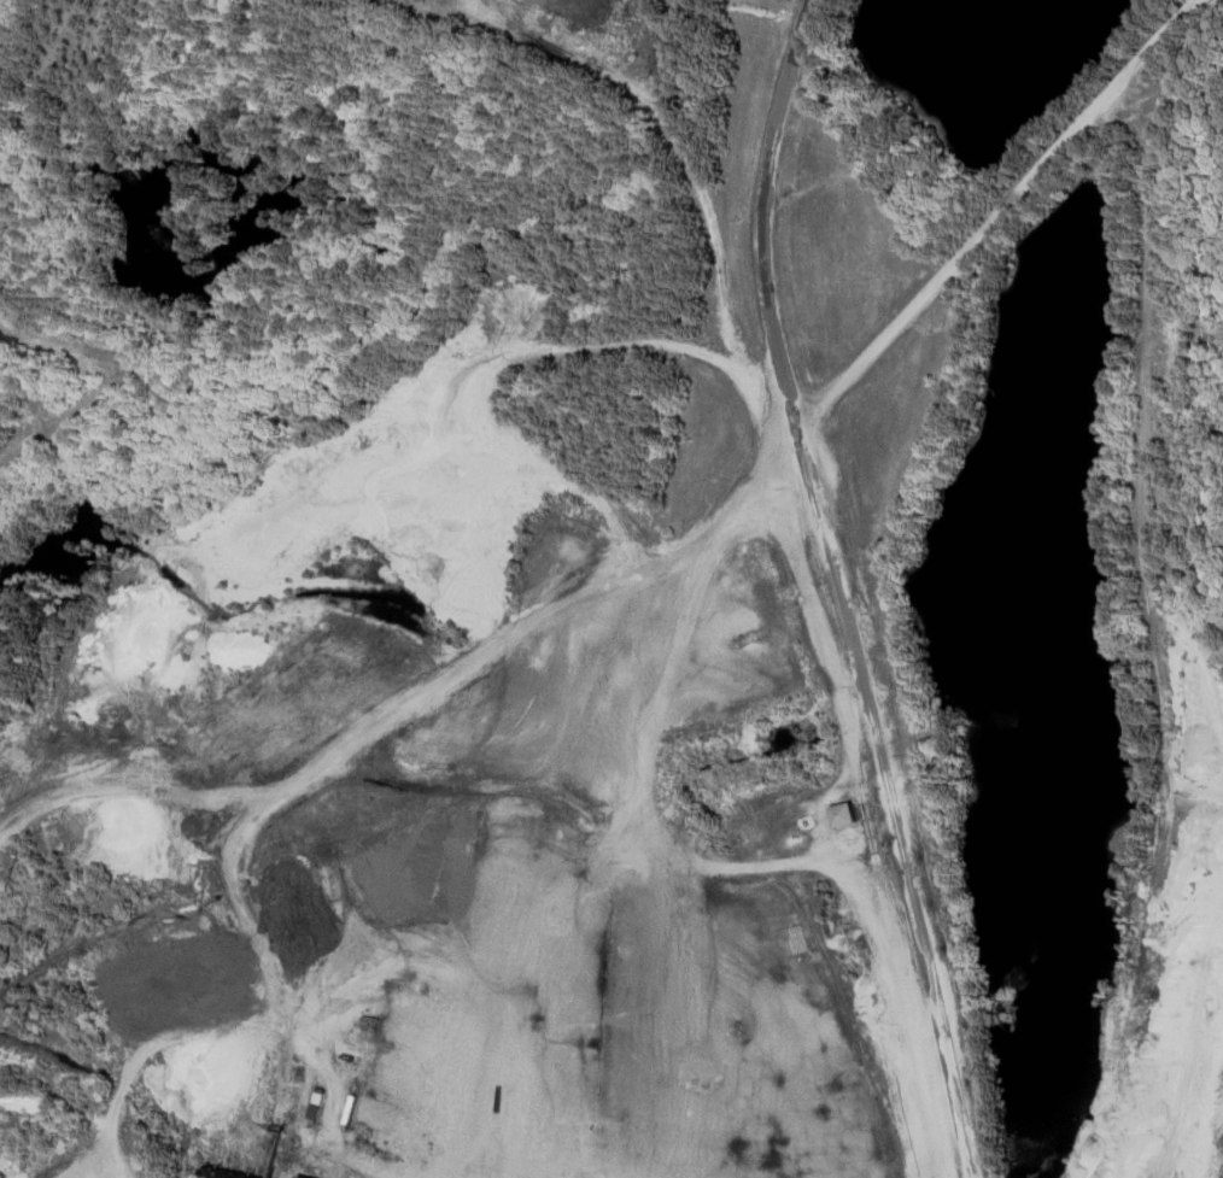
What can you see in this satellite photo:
road: (836, 590)
building: (845, 816)
building: (549, 1027)

